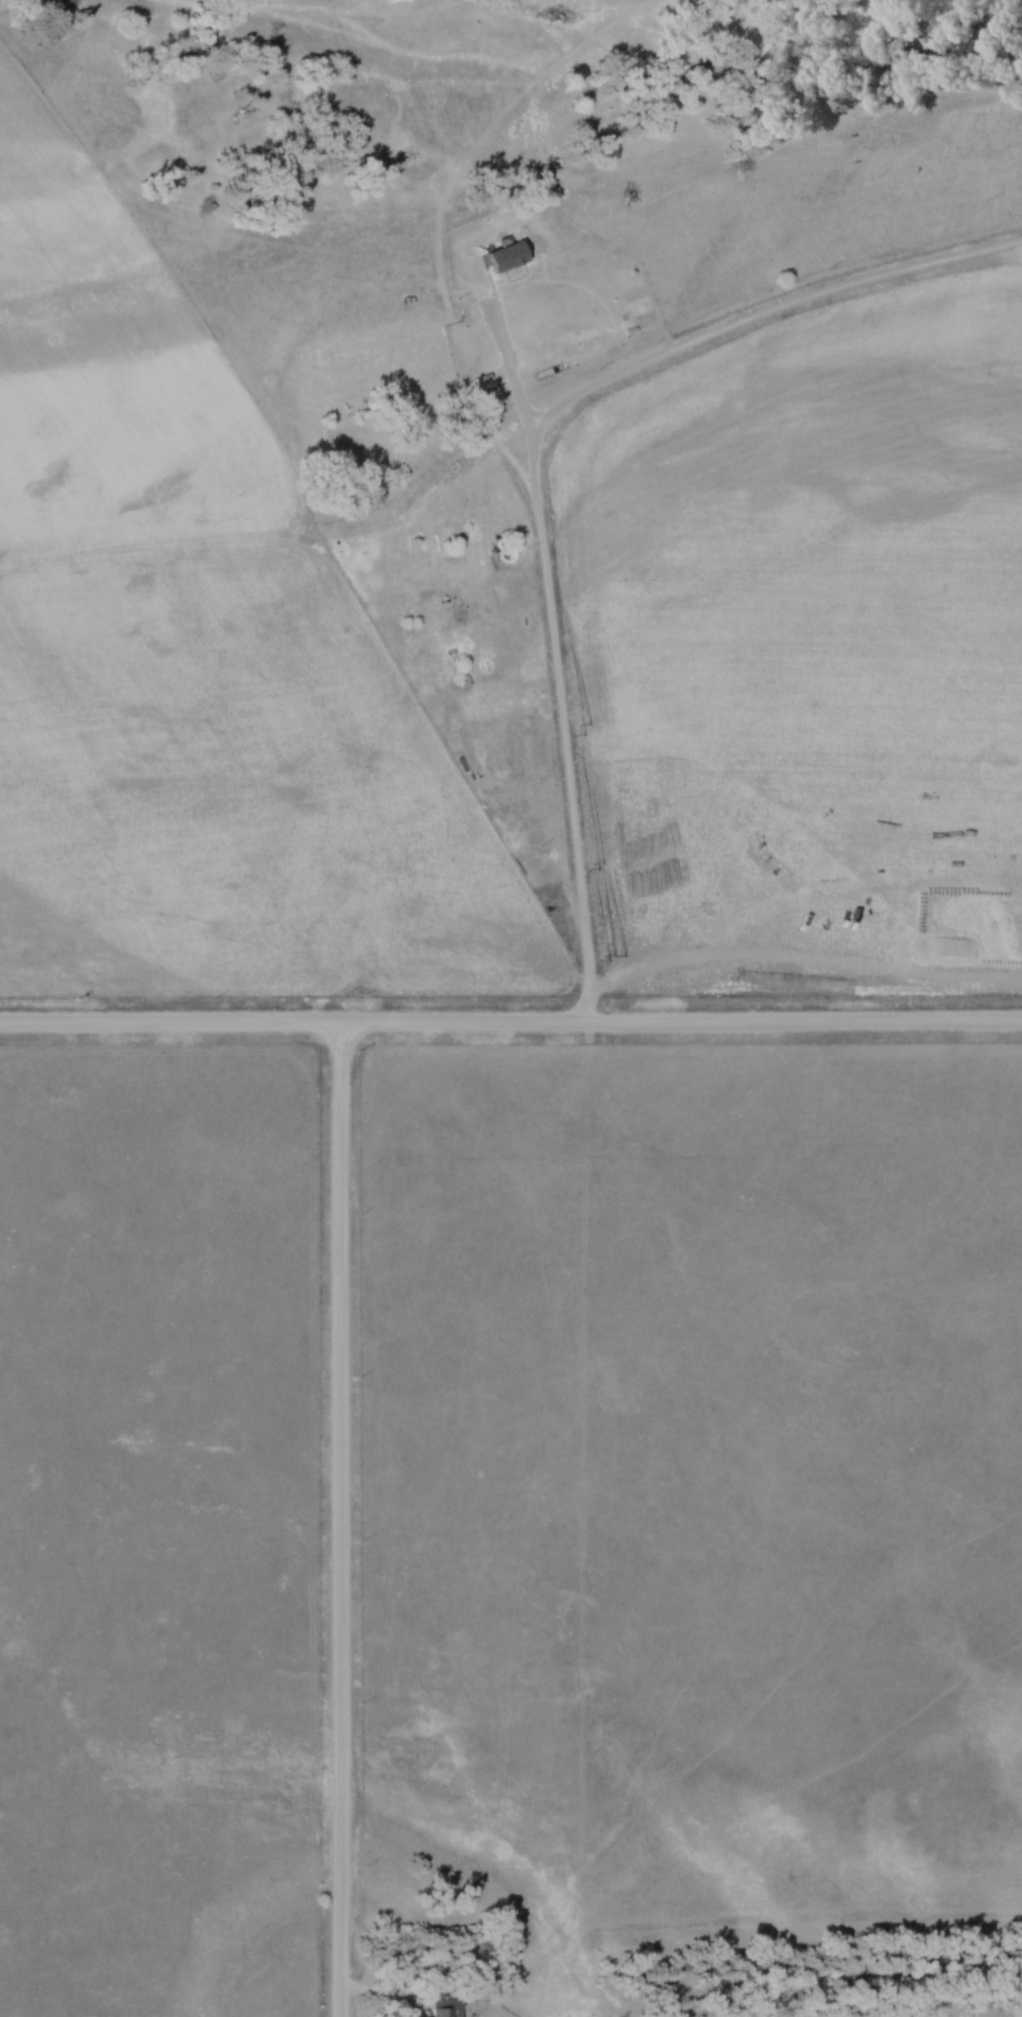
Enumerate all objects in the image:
road: (737, 325)
building: (572, 336)
road: (551, 667)
road: (511, 1026)
road: (337, 1521)
road: (377, 1997)
building: (444, 2004)

